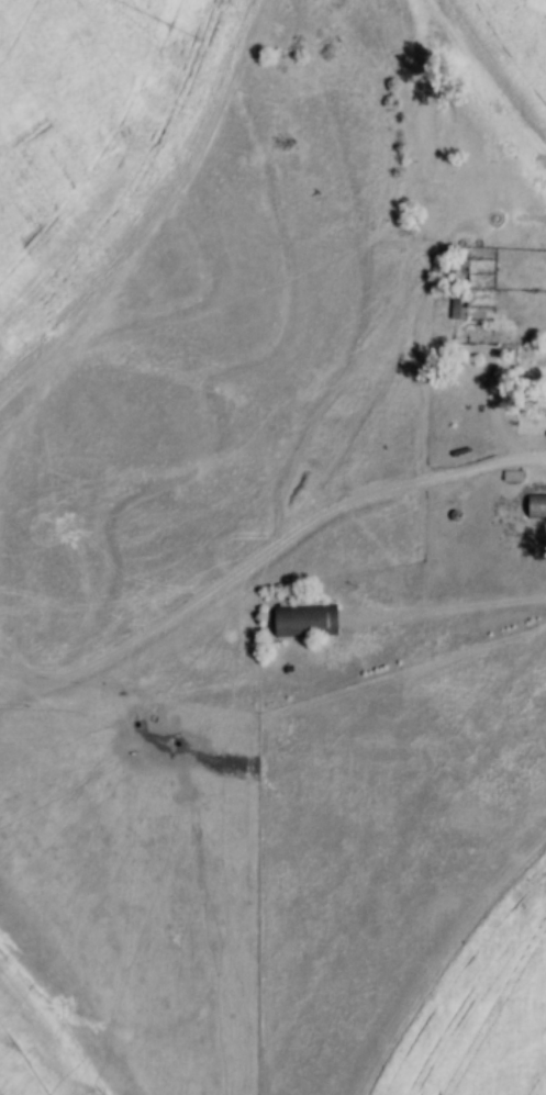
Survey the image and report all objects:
crop: (498, 65)
crop: (91, 142)
building: (457, 309)
building: (448, 310)
building: (542, 392)
building: (504, 478)
building: (531, 507)
building: (448, 517)
silo: (448, 517)
road: (453, 608)
building: (297, 625)
crop: (480, 1004)
crop: (38, 1043)

